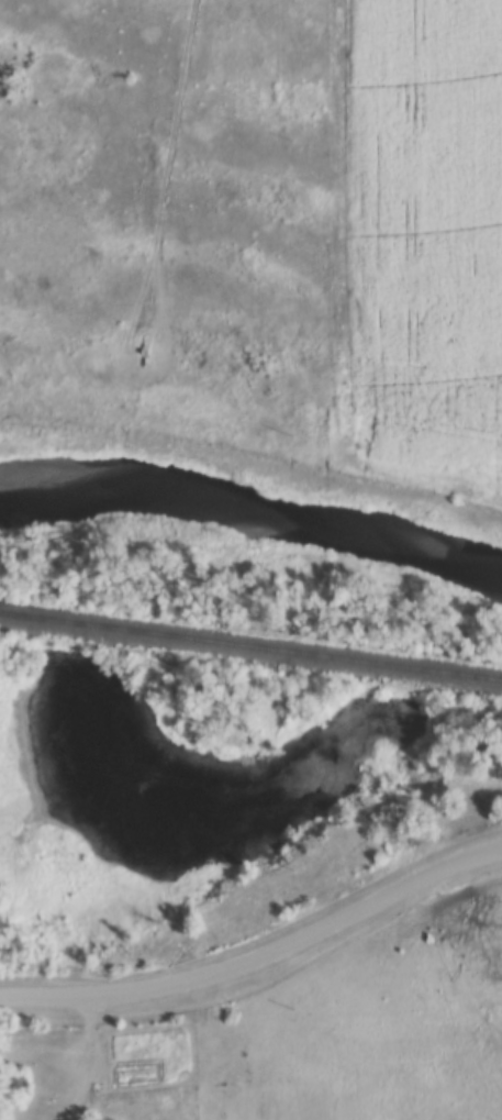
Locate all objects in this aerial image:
railway: (250, 654)
road: (258, 960)

